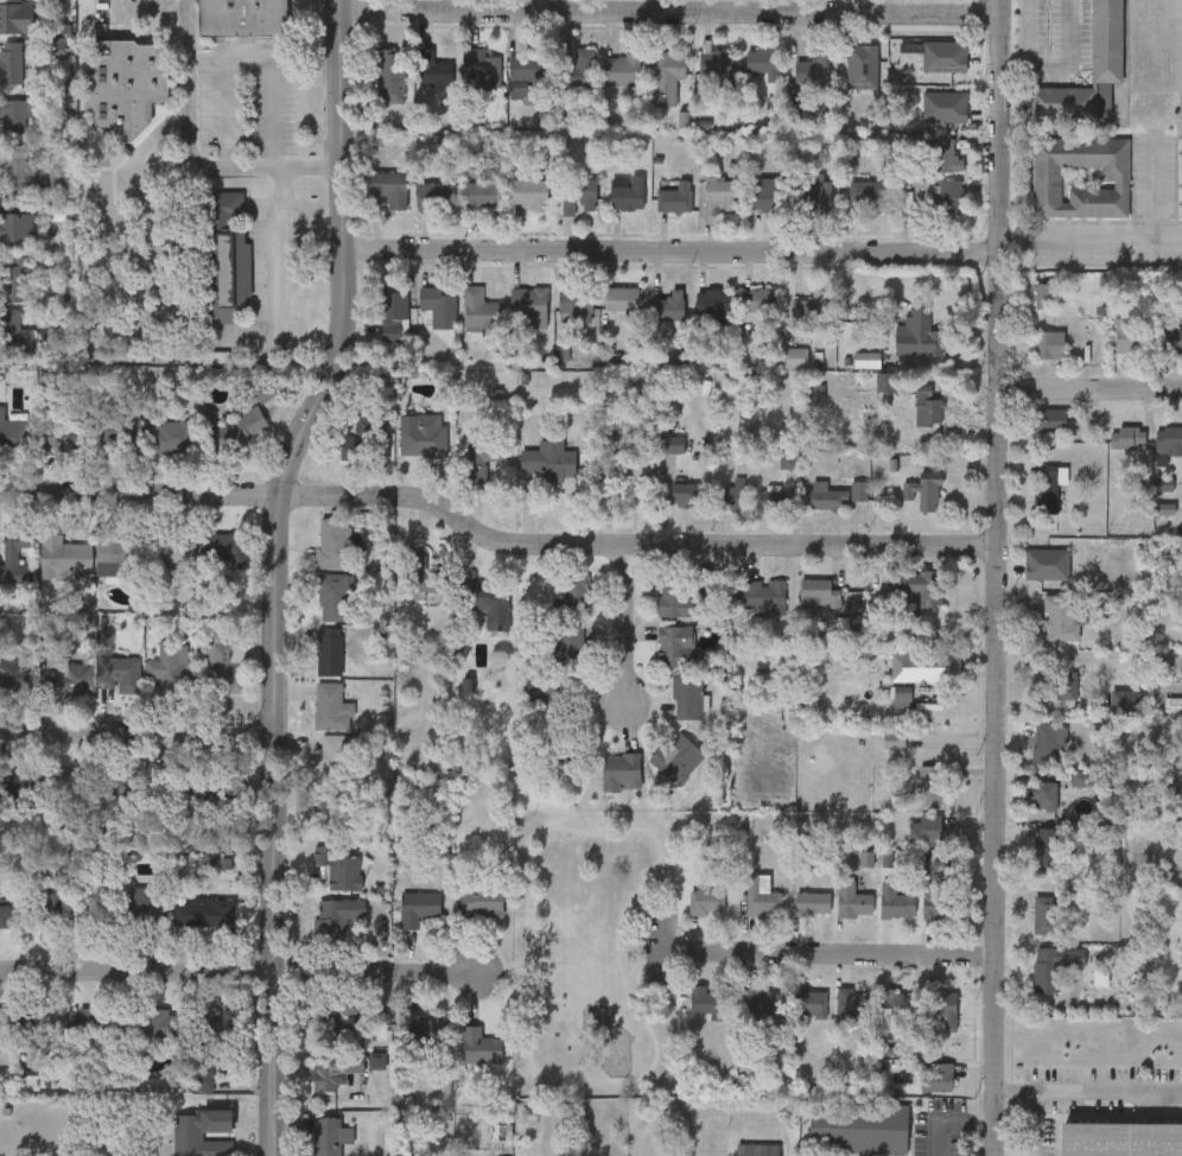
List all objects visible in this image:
road: (446, 5)
road: (528, 5)
road: (147, 8)
road: (668, 11)
building: (15, 17)
building: (243, 17)
building: (1106, 42)
road: (247, 58)
building: (12, 63)
building: (764, 63)
road: (1063, 64)
building: (530, 66)
building: (481, 68)
building: (812, 68)
building: (622, 69)
building: (716, 69)
building: (436, 70)
building: (577, 70)
building: (666, 76)
building: (389, 77)
building: (126, 84)
road: (185, 84)
building: (926, 99)
building: (15, 116)
road: (154, 135)
building: (945, 155)
building: (17, 171)
building: (1047, 172)
building: (1181, 177)
building: (381, 183)
road: (1151, 190)
building: (866, 192)
building: (483, 193)
building: (529, 193)
building: (433, 195)
building: (578, 195)
building: (628, 195)
building: (722, 195)
building: (769, 195)
building: (813, 195)
building: (675, 197)
building: (949, 197)
building: (17, 230)
road: (1089, 240)
road: (106, 247)
road: (668, 250)
building: (223, 256)
building: (14, 281)
road: (274, 284)
building: (1046, 294)
building: (576, 299)
building: (622, 299)
building: (713, 303)
building: (758, 304)
building: (668, 305)
building: (438, 306)
building: (528, 306)
building: (808, 306)
building: (479, 310)
building: (394, 315)
building: (919, 334)
building: (13, 335)
building: (1129, 335)
building: (1171, 339)
building: (1049, 344)
building: (868, 358)
building: (885, 382)
road: (1088, 387)
building: (928, 407)
building: (1049, 419)
building: (120, 431)
building: (65, 432)
building: (13, 433)
building: (171, 436)
building: (424, 436)
building: (1130, 436)
building: (360, 437)
building: (1169, 440)
building: (672, 443)
building: (483, 453)
building: (549, 459)
building: (625, 461)
building: (859, 488)
building: (1053, 488)
building: (923, 489)
building: (685, 493)
building: (736, 493)
building: (825, 494)
building: (774, 497)
road: (493, 539)
building: (336, 541)
building: (224, 546)
building: (171, 547)
building: (64, 553)
building: (116, 555)
building: (1057, 555)
building: (15, 571)
road: (273, 571)
building: (424, 573)
road: (993, 577)
building: (924, 585)
building: (819, 592)
building: (573, 595)
building: (336, 596)
building: (764, 596)
building: (487, 599)
building: (676, 599)
building: (1061, 616)
road: (624, 623)
building: (675, 644)
building: (329, 650)
building: (222, 666)
building: (926, 666)
building: (172, 667)
building: (120, 672)
building: (565, 673)
building: (68, 674)
building: (1066, 687)
building: (687, 695)
building: (1125, 704)
building: (332, 705)
road: (136, 729)
building: (1046, 742)
building: (563, 755)
building: (674, 756)
building: (333, 760)
building: (622, 771)
building: (930, 783)
building: (68, 785)
building: (115, 786)
building: (170, 786)
building: (6, 790)
building: (1046, 794)
building: (332, 813)
building: (928, 828)
building: (1048, 849)
building: (338, 868)
building: (758, 897)
building: (479, 900)
building: (853, 900)
building: (62, 901)
building: (897, 901)
building: (939, 901)
building: (707, 902)
building: (812, 902)
building: (418, 907)
building: (138, 908)
building: (201, 912)
building: (4, 914)
building: (1049, 915)
building: (330, 920)
parking lot: (660, 945)
road: (662, 946)
road: (672, 947)
park: (593, 948)
road: (837, 952)
building: (1054, 965)
road: (513, 971)
road: (239, 973)
road: (641, 979)
building: (705, 1001)
building: (763, 1001)
building: (811, 1002)
building: (852, 1003)
building: (895, 1003)
building: (945, 1008)
road: (640, 1016)
building: (103, 1018)
building: (8, 1020)
building: (46, 1022)
building: (160, 1022)
building: (217, 1028)
building: (425, 1028)
building: (478, 1044)
building: (333, 1071)
building: (938, 1076)
building: (203, 1078)
road: (1107, 1087)
road: (1031, 1100)
road: (951, 1120)
building: (860, 1126)
building: (202, 1132)
building: (331, 1136)
building: (1121, 1137)
building: (757, 1149)

